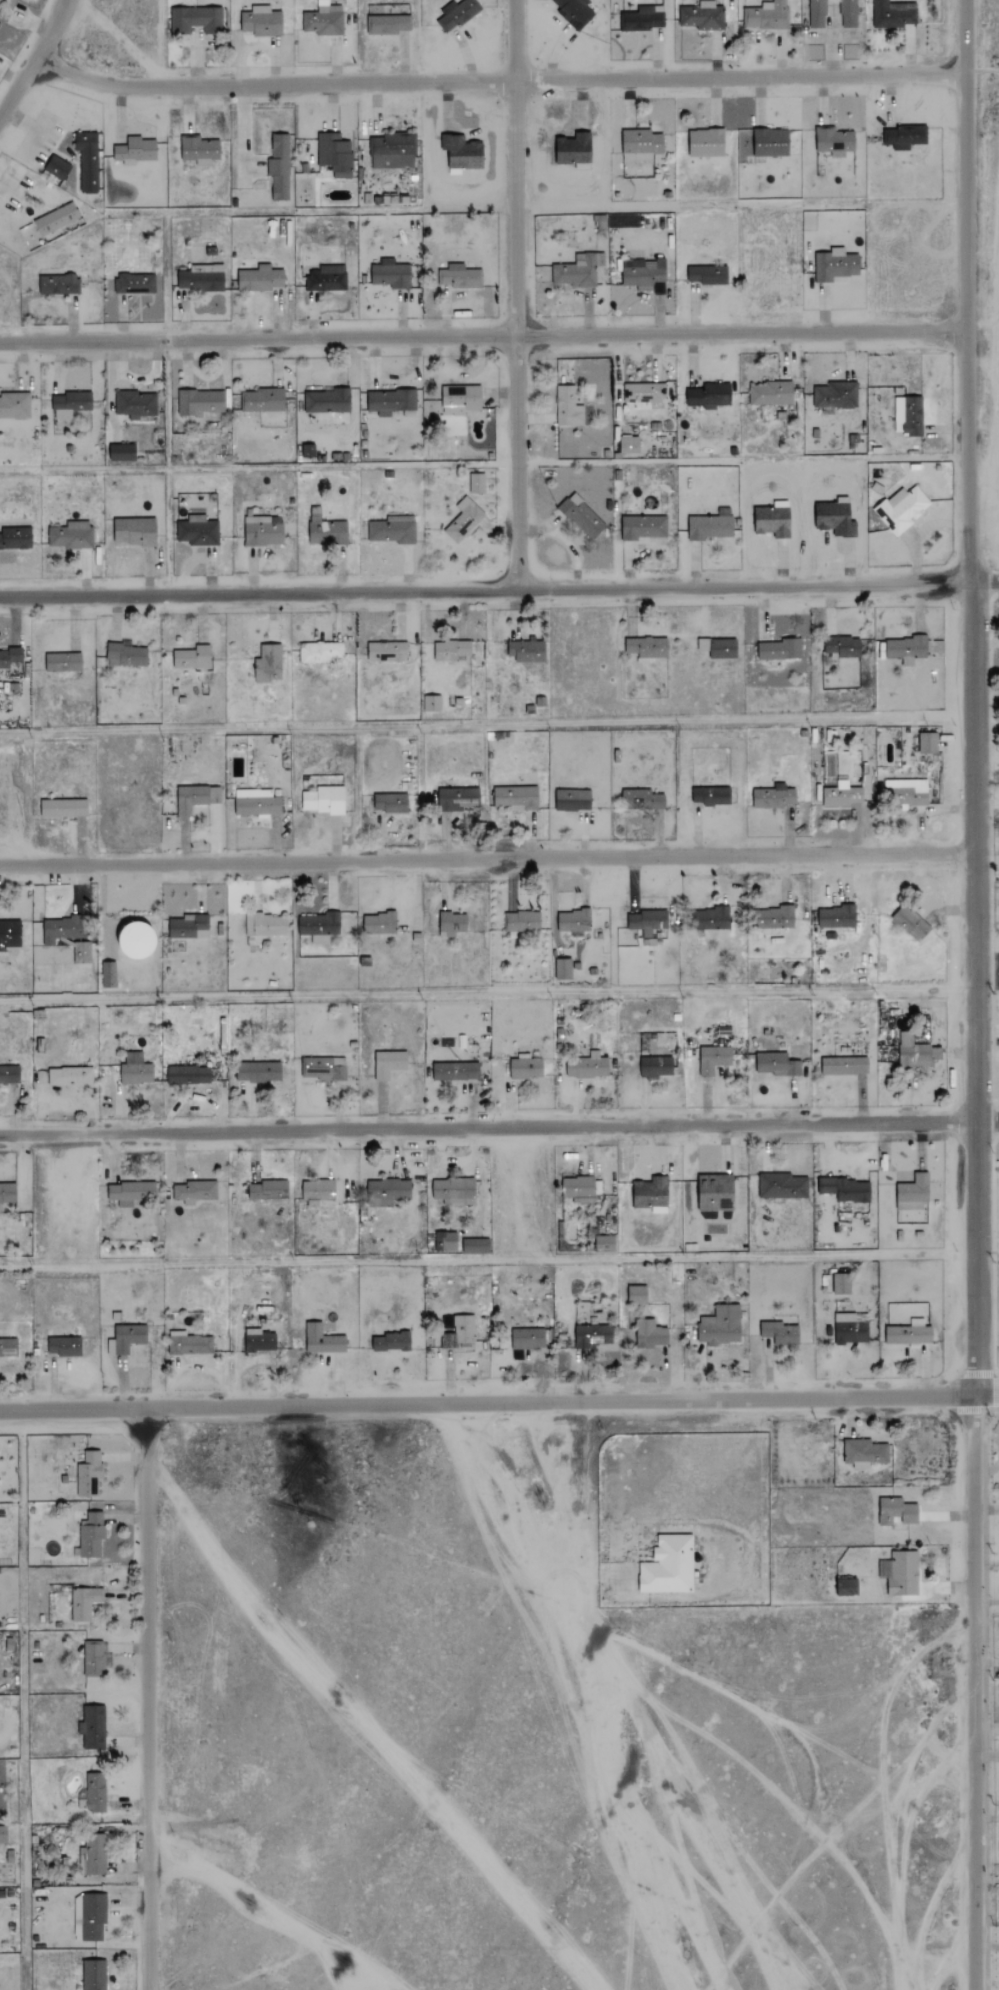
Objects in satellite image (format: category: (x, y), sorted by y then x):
building: (574, 12)
building: (456, 13)
building: (817, 13)
building: (849, 13)
building: (893, 14)
building: (766, 15)
building: (702, 16)
building: (641, 19)
building: (195, 20)
building: (262, 21)
building: (323, 21)
building: (0, 23)
building: (387, 23)
road: (35, 61)
road: (498, 83)
building: (903, 137)
building: (834, 141)
building: (706, 142)
building: (771, 142)
building: (641, 143)
building: (572, 149)
building: (135, 150)
building: (199, 150)
building: (461, 150)
building: (392, 151)
building: (335, 154)
building: (87, 160)
building: (57, 167)
building: (279, 167)
building: (56, 219)
building: (835, 264)
building: (578, 269)
building: (390, 274)
building: (643, 274)
building: (707, 274)
building: (459, 276)
building: (202, 278)
building: (259, 278)
building: (326, 278)
building: (135, 283)
building: (58, 284)
road: (517, 296)
road: (483, 337)
building: (643, 392)
building: (770, 393)
building: (836, 395)
building: (709, 396)
building: (460, 399)
building: (262, 400)
building: (328, 401)
building: (390, 401)
building: (200, 402)
building: (70, 404)
building: (133, 404)
building: (14, 405)
building: (568, 407)
building: (908, 415)
building: (630, 444)
building: (122, 452)
building: (476, 482)
building: (902, 508)
building: (582, 517)
building: (834, 517)
building: (463, 519)
building: (772, 520)
building: (710, 525)
building: (643, 527)
building: (325, 529)
building: (392, 529)
building: (263, 530)
building: (134, 531)
building: (197, 531)
building: (71, 535)
building: (15, 537)
road: (499, 593)
building: (842, 646)
building: (647, 648)
building: (718, 648)
building: (906, 649)
building: (452, 650)
building: (527, 650)
building: (779, 650)
building: (320, 651)
building: (387, 652)
building: (127, 655)
building: (9, 657)
building: (193, 657)
building: (62, 662)
building: (268, 664)
building: (0, 680)
building: (432, 703)
building: (928, 743)
building: (908, 791)
building: (842, 795)
building: (712, 796)
building: (517, 797)
building: (774, 797)
building: (195, 798)
building: (457, 799)
building: (324, 800)
building: (573, 800)
building: (642, 800)
building: (390, 802)
building: (257, 803)
building: (63, 808)
road: (488, 859)
building: (837, 917)
building: (707, 918)
building: (772, 918)
building: (574, 921)
building: (647, 921)
building: (521, 922)
building: (911, 923)
building: (379, 924)
building: (452, 924)
building: (265, 925)
building: (189, 926)
building: (318, 927)
building: (60, 929)
building: (10, 934)
building: (135, 945)
building: (81, 953)
building: (563, 970)
building: (108, 975)
road: (488, 992)
road: (978, 995)
building: (917, 1052)
building: (714, 1059)
building: (389, 1064)
building: (587, 1065)
building: (777, 1065)
building: (844, 1066)
building: (525, 1067)
building: (655, 1067)
building: (324, 1068)
building: (135, 1070)
building: (456, 1071)
building: (258, 1072)
building: (9, 1074)
building: (188, 1075)
building: (70, 1077)
road: (499, 1126)
building: (521, 1186)
building: (781, 1186)
building: (581, 1188)
building: (845, 1189)
building: (268, 1190)
building: (318, 1190)
building: (453, 1191)
building: (194, 1192)
building: (387, 1192)
building: (7, 1193)
building: (129, 1193)
building: (716, 1193)
building: (913, 1193)
building: (651, 1195)
building: (445, 1242)
building: (605, 1244)
building: (476, 1246)
road: (489, 1261)
building: (841, 1284)
building: (637, 1295)
building: (721, 1326)
building: (464, 1329)
building: (850, 1329)
building: (780, 1333)
building: (650, 1334)
building: (593, 1335)
building: (908, 1335)
building: (126, 1338)
building: (527, 1339)
building: (322, 1340)
building: (259, 1341)
building: (391, 1342)
building: (189, 1344)
building: (64, 1346)
building: (8, 1348)
road: (499, 1402)
building: (865, 1452)
building: (88, 1473)
building: (897, 1511)
road: (562, 1518)
building: (91, 1535)
building: (668, 1565)
building: (848, 1587)
building: (84, 1602)
building: (96, 1658)
road: (147, 1699)
building: (92, 1726)
building: (95, 1792)
building: (3, 1834)
building: (95, 1854)
building: (89, 1916)
building: (94, 1975)

